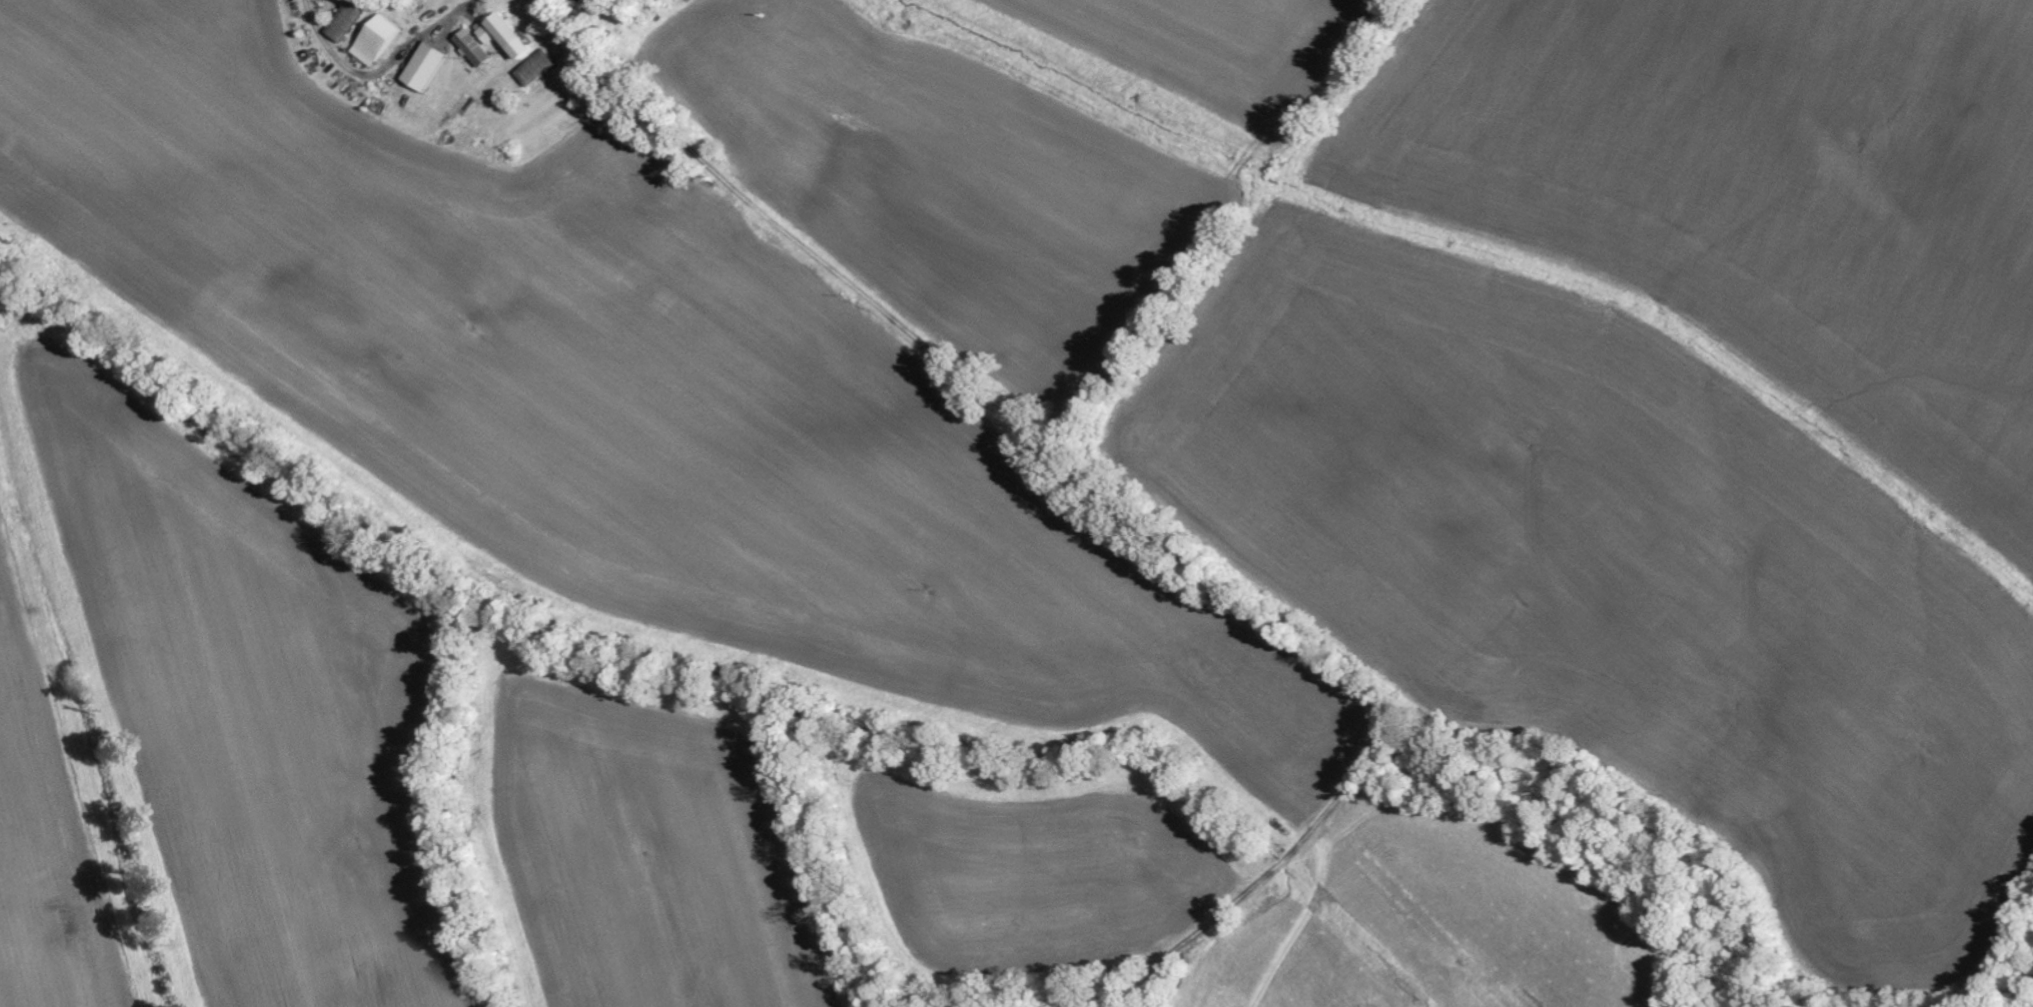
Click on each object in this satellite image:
building: (507, 34)
building: (378, 39)
building: (477, 47)
building: (428, 66)
road: (1092, 462)

